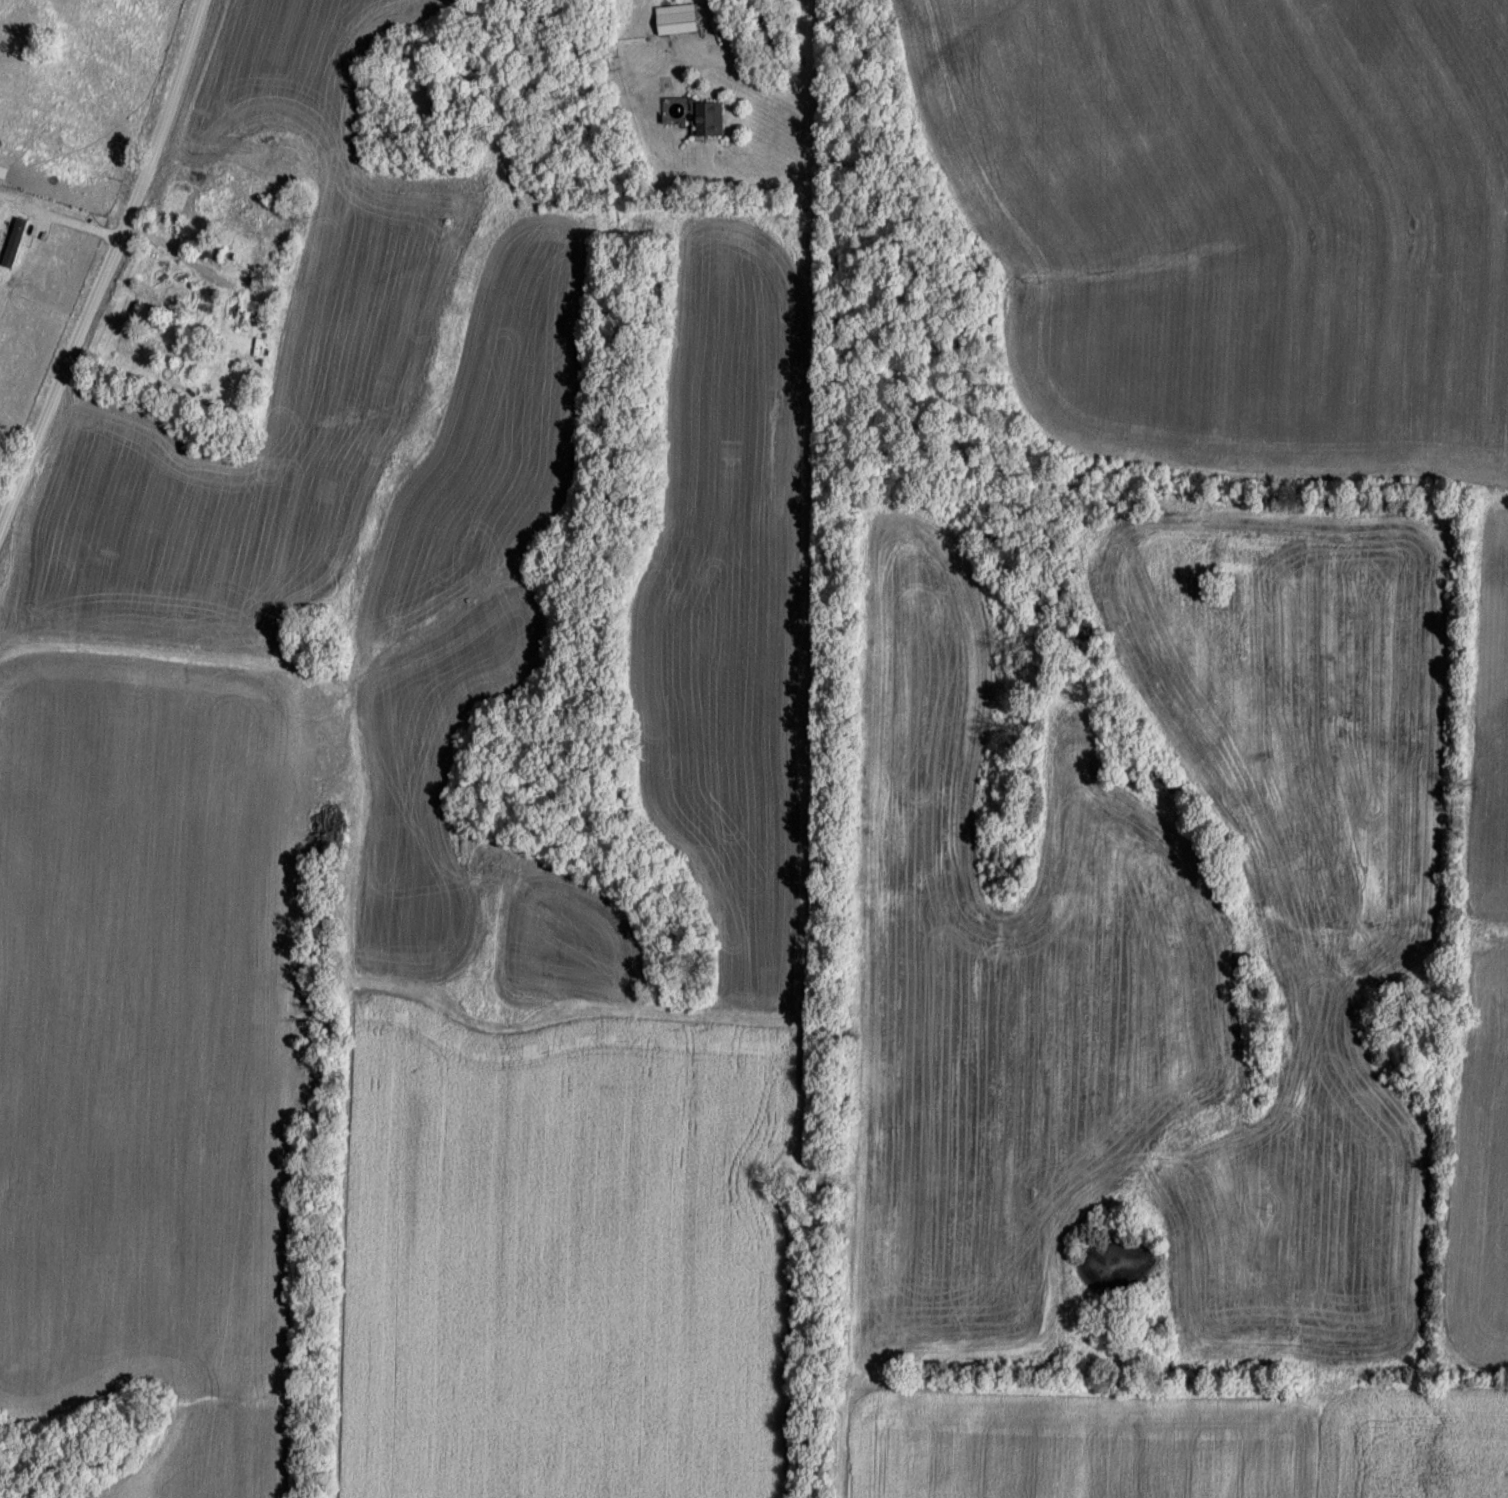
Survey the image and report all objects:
building: (678, 22)
road: (790, 105)
building: (711, 122)
road: (782, 175)
building: (212, 253)
road: (190, 264)
road: (109, 268)

